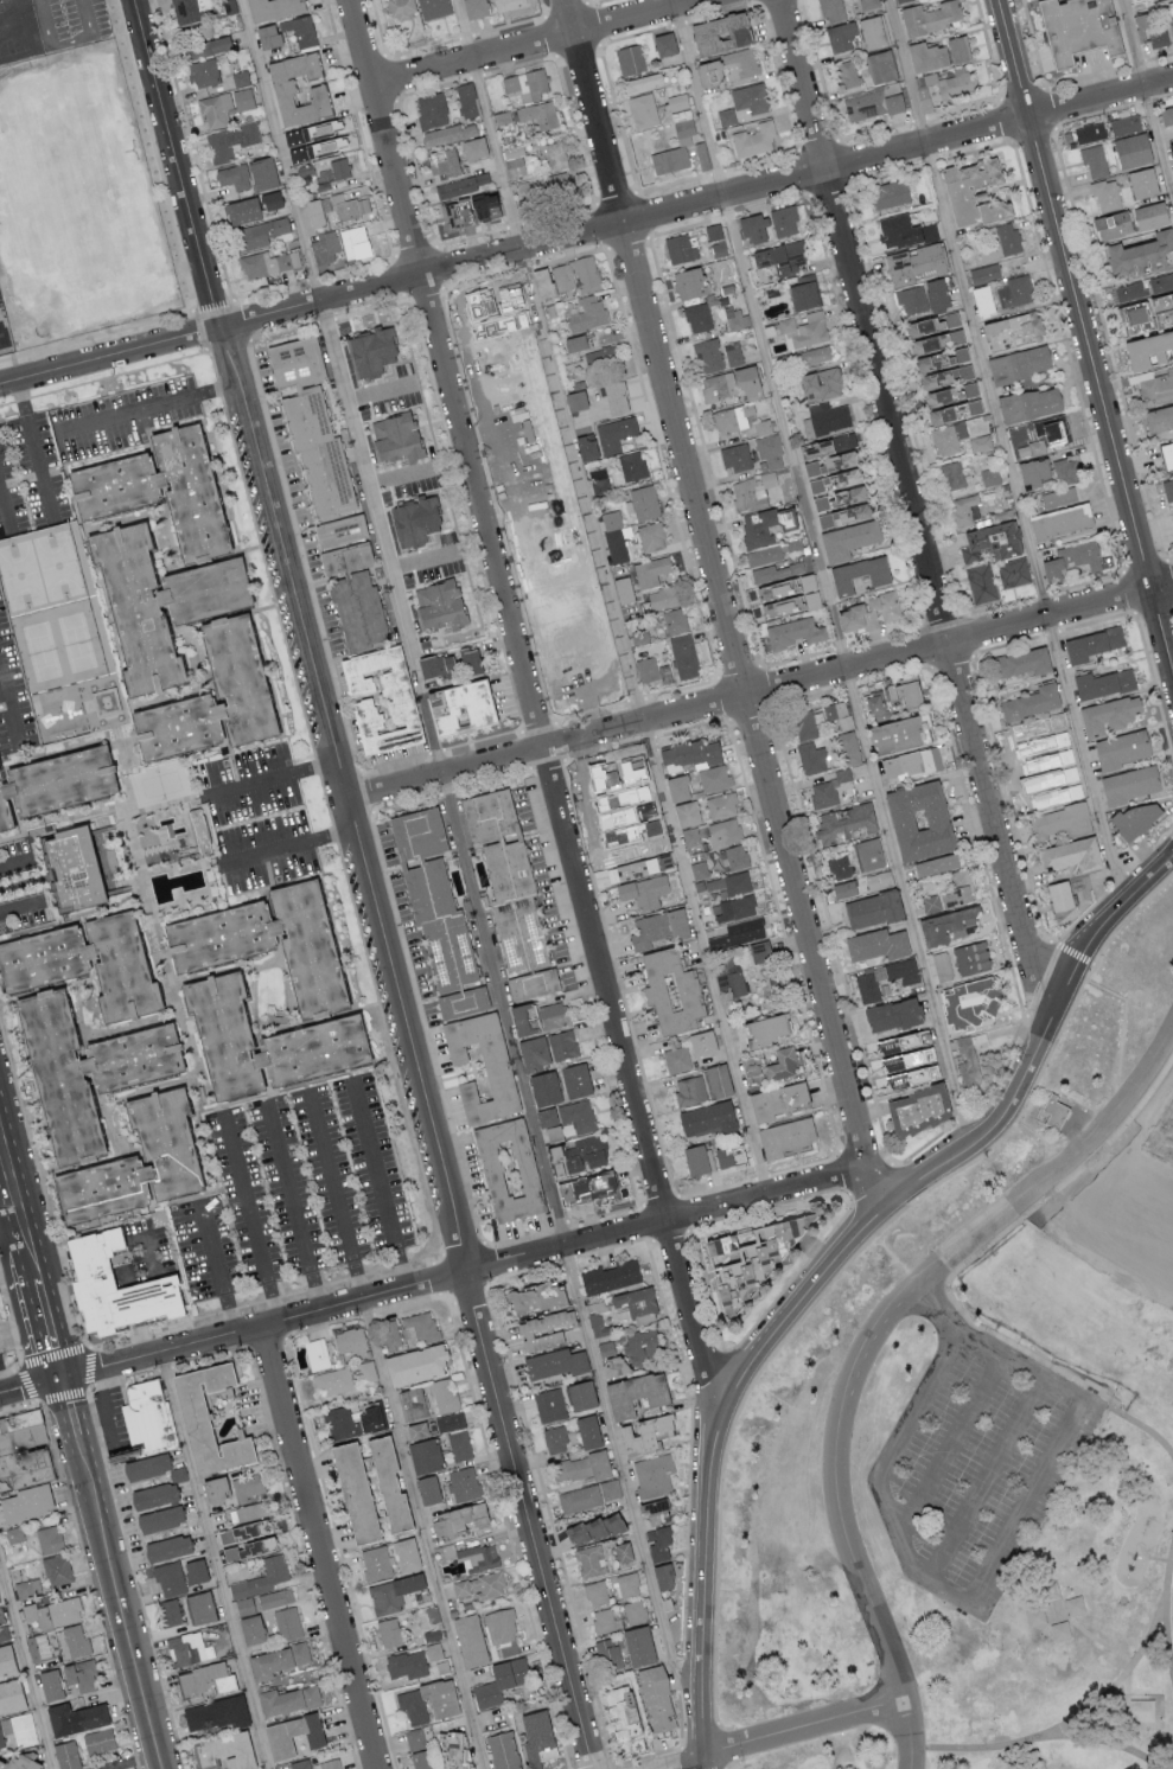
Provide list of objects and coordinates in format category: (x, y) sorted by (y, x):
building: (899, 0)
building: (1141, 1)
building: (508, 4)
building: (868, 4)
building: (272, 7)
building: (400, 7)
building: (433, 8)
building: (474, 8)
building: (189, 9)
building: (831, 9)
building: (930, 15)
parking lot: (68, 23)
building: (1172, 23)
building: (1076, 27)
building: (300, 31)
building: (871, 31)
building: (719, 32)
building: (267, 34)
building: (1160, 34)
building: (840, 36)
building: (663, 43)
road: (536, 44)
road: (1130, 44)
road: (64, 45)
building: (208, 46)
building: (957, 49)
building: (925, 56)
building: (629, 58)
building: (741, 63)
building: (880, 65)
building: (708, 71)
building: (204, 72)
building: (847, 75)
building: (240, 77)
building: (640, 81)
building: (924, 81)
building: (958, 81)
building: (525, 85)
building: (675, 88)
building: (282, 94)
building: (751, 97)
building: (467, 98)
building: (677, 101)
building: (873, 102)
building: (223, 106)
building: (432, 109)
building: (643, 110)
building: (540, 114)
building: (1166, 114)
building: (726, 116)
building: (1124, 123)
building: (1090, 132)
building: (315, 139)
building: (754, 139)
building: (229, 140)
road: (1158, 146)
building: (473, 147)
building: (674, 149)
building: (1131, 149)
building: (1171, 149)
building: (702, 154)
building: (555, 155)
building: (1094, 159)
building: (514, 160)
building: (442, 161)
building: (339, 167)
building: (262, 172)
building: (234, 175)
building: (1142, 181)
building: (463, 184)
building: (556, 187)
building: (958, 192)
building: (888, 194)
building: (1107, 194)
park: (76, 199)
building: (345, 205)
building: (250, 206)
building: (314, 211)
building: (455, 213)
building: (1149, 215)
building: (784, 219)
building: (1111, 224)
building: (752, 226)
building: (713, 230)
building: (903, 230)
building: (260, 232)
road: (586, 232)
building: (1001, 241)
building: (355, 242)
building: (678, 247)
building: (324, 248)
building: (719, 248)
building: (1141, 253)
building: (779, 257)
building: (268, 262)
building: (983, 273)
building: (586, 274)
building: (563, 276)
building: (542, 282)
building: (689, 282)
building: (1015, 290)
building: (1130, 290)
building: (936, 293)
building: (802, 294)
building: (912, 299)
building: (982, 299)
building: (586, 312)
building: (1147, 312)
building: (697, 317)
building: (735, 318)
building: (496, 320)
building: (931, 324)
building: (1012, 328)
building: (804, 330)
building: (927, 341)
road: (1085, 341)
building: (574, 343)
building: (1148, 349)
building: (371, 351)
building: (715, 355)
building: (814, 356)
building: (938, 359)
building: (1018, 363)
building: (967, 370)
building: (935, 378)
building: (820, 383)
building: (731, 384)
building: (970, 388)
building: (1155, 388)
building: (614, 396)
building: (575, 400)
building: (1029, 403)
building: (949, 404)
road: (147, 407)
building: (732, 417)
building: (825, 417)
building: (1159, 417)
building: (311, 424)
building: (763, 427)
building: (614, 433)
building: (1045, 435)
building: (395, 436)
building: (948, 438)
building: (525, 442)
building: (980, 442)
building: (830, 443)
building: (588, 447)
road: (33, 448)
building: (769, 451)
road: (1003, 452)
building: (1167, 453)
building: (737, 456)
building: (632, 465)
building: (1065, 470)
building: (833, 471)
building: (1033, 471)
building: (952, 474)
building: (989, 477)
building: (599, 479)
building: (1168, 488)
building: (165, 490)
building: (752, 491)
building: (1058, 496)
building: (643, 502)
road: (4, 505)
building: (844, 506)
road: (911, 506)
building: (965, 509)
building: (414, 519)
building: (1060, 519)
building: (758, 526)
building: (339, 530)
building: (616, 535)
building: (651, 536)
building: (847, 539)
building: (990, 541)
building: (791, 544)
building: (764, 555)
building: (1072, 558)
park: (59, 566)
building: (650, 570)
building: (777, 571)
building: (859, 573)
building: (1013, 573)
road: (823, 575)
park: (21, 576)
building: (981, 582)
building: (623, 589)
building: (353, 594)
road: (613, 596)
building: (662, 596)
building: (164, 603)
building: (439, 603)
road: (721, 603)
building: (869, 612)
building: (674, 620)
building: (793, 632)
park: (78, 640)
building: (1091, 643)
park: (40, 651)
building: (683, 654)
building: (241, 660)
building: (1021, 662)
building: (448, 663)
building: (582, 663)
building: (652, 670)
building: (1103, 682)
building: (904, 691)
road: (757, 694)
building: (396, 698)
building: (104, 701)
building: (1031, 702)
building: (874, 704)
road: (534, 705)
building: (458, 707)
road: (13, 713)
building: (839, 714)
building: (1107, 714)
building: (818, 715)
building: (804, 724)
building: (893, 734)
building: (1038, 735)
building: (848, 747)
building: (1121, 748)
building: (690, 754)
building: (811, 758)
building: (909, 762)
road: (269, 777)
building: (714, 778)
building: (53, 783)
building: (1128, 784)
park: (159, 785)
building: (1052, 786)
building: (677, 787)
building: (828, 788)
building: (721, 805)
building: (686, 813)
building: (1134, 818)
building: (918, 819)
building: (1062, 820)
building: (843, 822)
building: (200, 830)
building: (723, 831)
building: (416, 832)
building: (690, 837)
road: (286, 848)
road: (459, 851)
building: (868, 854)
building: (1070, 854)
building: (735, 856)
building: (946, 862)
road: (15, 864)
building: (839, 867)
building: (631, 869)
building: (699, 869)
building: (74, 870)
building: (505, 876)
building: (878, 880)
building: (726, 883)
road: (363, 884)
building: (843, 888)
building: (643, 890)
building: (951, 892)
building: (1058, 895)
road: (19, 905)
building: (733, 908)
building: (872, 908)
building: (948, 925)
building: (440, 927)
building: (657, 927)
building: (739, 933)
building: (267, 943)
building: (875, 944)
building: (759, 950)
building: (970, 957)
building: (84, 963)
building: (942, 965)
building: (903, 970)
building: (731, 977)
building: (531, 984)
building: (867, 986)
building: (670, 991)
building: (969, 1001)
building: (461, 1002)
building: (892, 1014)
building: (537, 1017)
building: (761, 1030)
building: (263, 1041)
building: (903, 1041)
building: (701, 1042)
building: (562, 1045)
building: (534, 1053)
building: (676, 1059)
building: (906, 1059)
building: (967, 1061)
building: (780, 1064)
building: (750, 1065)
building: (83, 1071)
building: (497, 1072)
building: (912, 1077)
building: (574, 1080)
building: (718, 1080)
building: (544, 1088)
building: (687, 1090)
building: (776, 1100)
building: (917, 1110)
building: (1056, 1111)
building: (576, 1116)
building: (707, 1118)
building: (548, 1123)
building: (784, 1137)
building: (164, 1143)
building: (726, 1155)
building: (576, 1156)
building: (694, 1160)
road: (1060, 1167)
building: (508, 1169)
road: (381, 1184)
road: (12, 1187)
building: (584, 1188)
road: (336, 1196)
road: (293, 1208)
road: (8, 1213)
road: (250, 1219)
road: (25, 1238)
road: (211, 1246)
road: (30, 1258)
building: (745, 1258)
road: (825, 1262)
road: (283, 1271)
road: (17, 1276)
building: (610, 1277)
road: (431, 1283)
building: (111, 1288)
building: (534, 1298)
building: (635, 1305)
road: (11, 1320)
building: (421, 1324)
road: (47, 1326)
building: (599, 1326)
building: (544, 1329)
building: (389, 1334)
building: (6, 1335)
building: (350, 1341)
building: (629, 1352)
building: (317, 1353)
road: (999, 1354)
building: (554, 1362)
building: (417, 1367)
road: (9, 1371)
traffic signals: (62, 1379)
road: (30, 1382)
building: (333, 1382)
building: (580, 1392)
building: (445, 1394)
building: (638, 1397)
building: (412, 1401)
building: (549, 1404)
road: (69, 1406)
road: (20, 1407)
building: (152, 1413)
building: (205, 1417)
building: (368, 1419)
building: (450, 1422)
road: (1134, 1425)
building: (21, 1426)
building: (587, 1430)
building: (419, 1432)
building: (644, 1432)
building: (0, 1438)
building: (554, 1438)
building: (459, 1444)
road: (954, 1445)
building: (21, 1447)
building: (425, 1454)
road: (83, 1463)
building: (145, 1464)
building: (580, 1465)
parking lot: (980, 1467)
building: (177, 1473)
building: (26, 1474)
building: (652, 1474)
building: (387, 1482)
building: (464, 1483)
road: (992, 1483)
building: (213, 1487)
building: (427, 1488)
building: (352, 1489)
building: (152, 1494)
building: (589, 1494)
building: (249, 1496)
building: (26, 1501)
building: (651, 1505)
park: (946, 1505)
building: (159, 1518)
building: (460, 1518)
road: (842, 1520)
building: (594, 1526)
road: (422, 1534)
building: (47, 1538)
building: (246, 1538)
building: (658, 1541)
building: (167, 1546)
road: (321, 1548)
building: (448, 1551)
building: (623, 1553)
building: (478, 1556)
building: (408, 1557)
building: (591, 1559)
road: (215, 1562)
building: (377, 1565)
building: (57, 1569)
building: (195, 1570)
building: (662, 1575)
building: (262, 1576)
building: (170, 1578)
road: (930, 1579)
road: (90, 1584)
building: (627, 1584)
building: (26, 1586)
building: (483, 1588)
building: (595, 1592)
building: (394, 1596)
building: (275, 1597)
building: (244, 1605)
building: (52, 1611)
building: (168, 1611)
building: (635, 1611)
road: (1169, 1614)
building: (1, 1615)
building: (604, 1620)
building: (288, 1622)
building: (250, 1628)
road: (127, 1629)
building: (389, 1631)
building: (502, 1631)
building: (4, 1633)
building: (468, 1639)
building: (76, 1640)
building: (38, 1647)
building: (189, 1647)
building: (640, 1647)
building: (433, 1650)
building: (607, 1653)
building: (6, 1659)
building: (276, 1659)
building: (408, 1666)
road: (25, 1667)
building: (79, 1674)
building: (205, 1678)
building: (501, 1680)
building: (49, 1684)
building: (11, 1694)
building: (655, 1697)
building: (440, 1698)
building: (287, 1699)
building: (414, 1709)
building: (1143, 1711)
building: (217, 1712)
building: (620, 1712)
building: (75, 1717)
building: (18, 1729)
road: (805, 1731)
building: (292, 1733)
building: (536, 1736)
building: (97, 1739)
building: (417, 1748)
building: (454, 1749)
building: (224, 1750)
building: (502, 1750)
building: (65, 1754)
building: (300, 1763)
building: (331, 1763)
road: (687, 1763)

